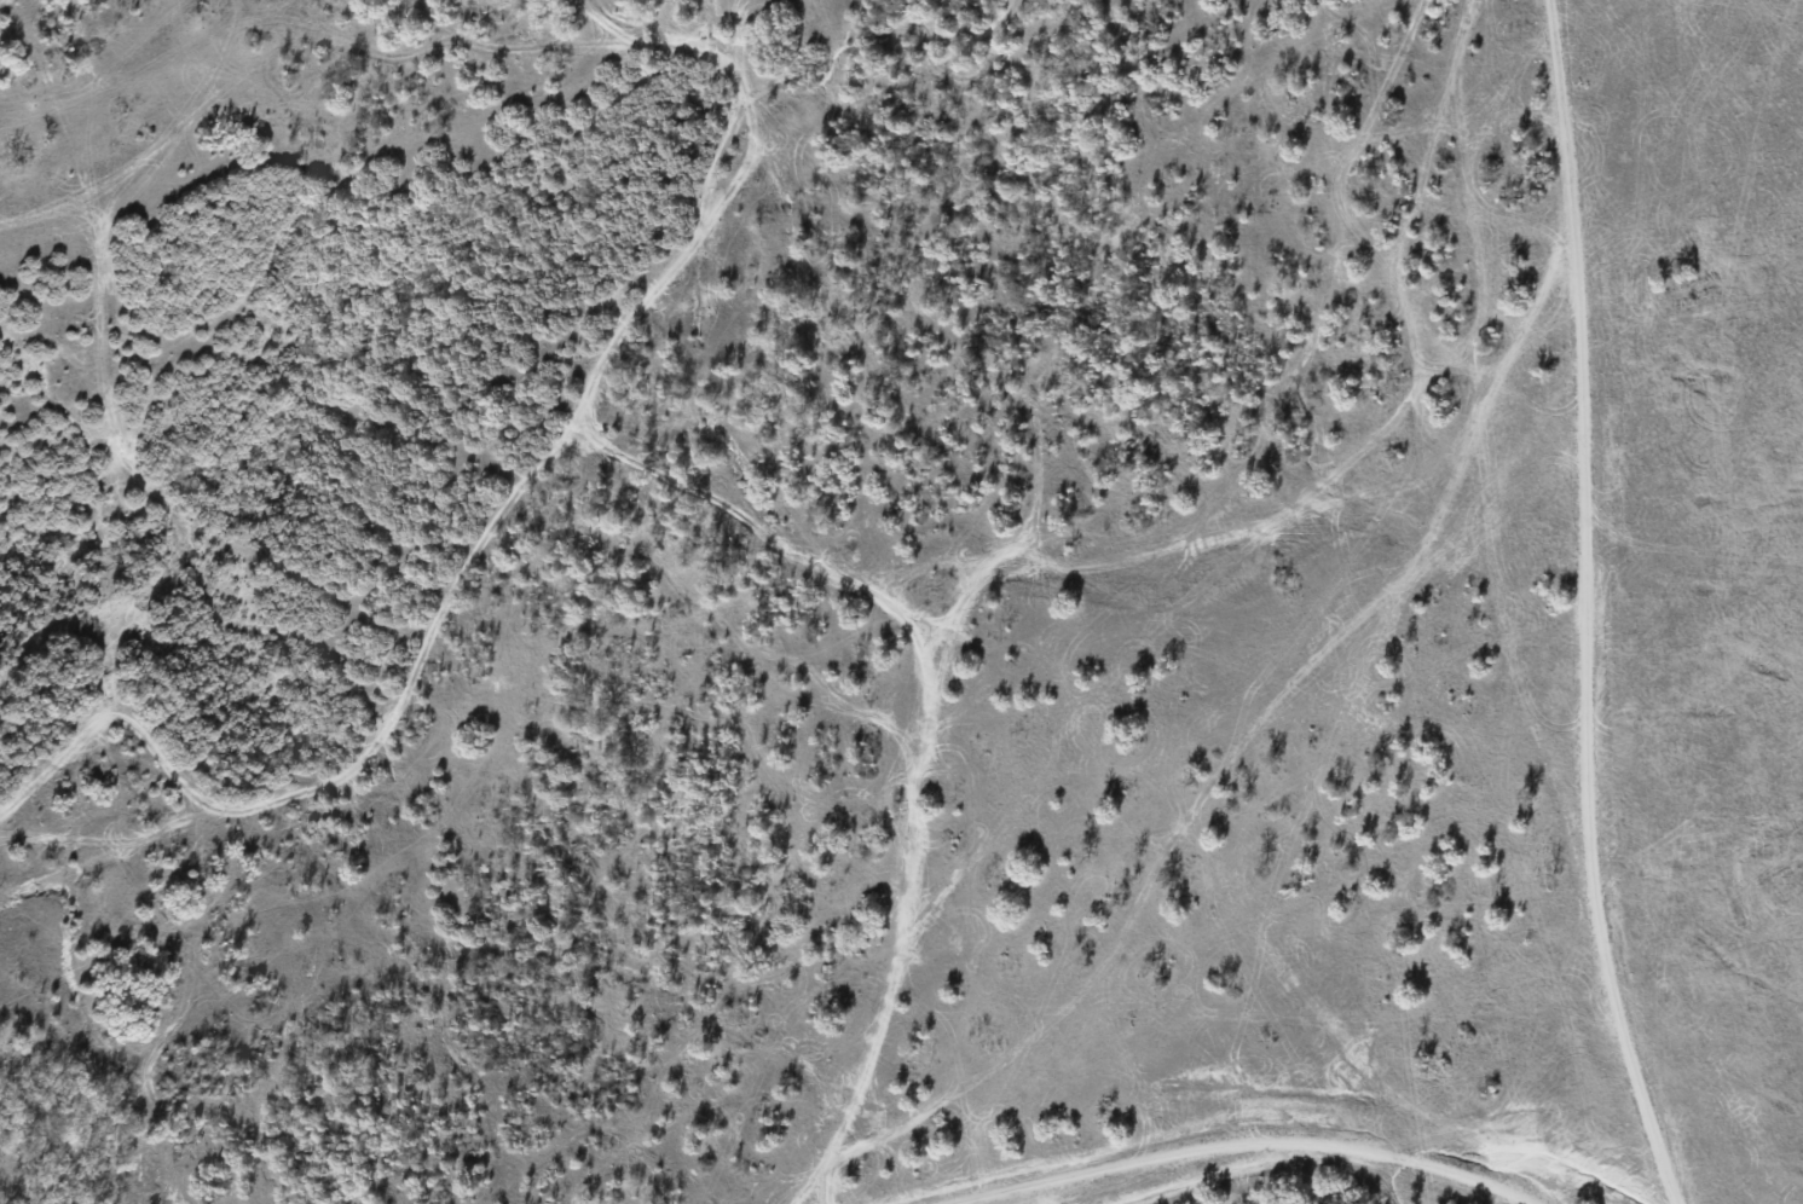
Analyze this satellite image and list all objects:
road: (193, 510)
road: (1232, 1134)

